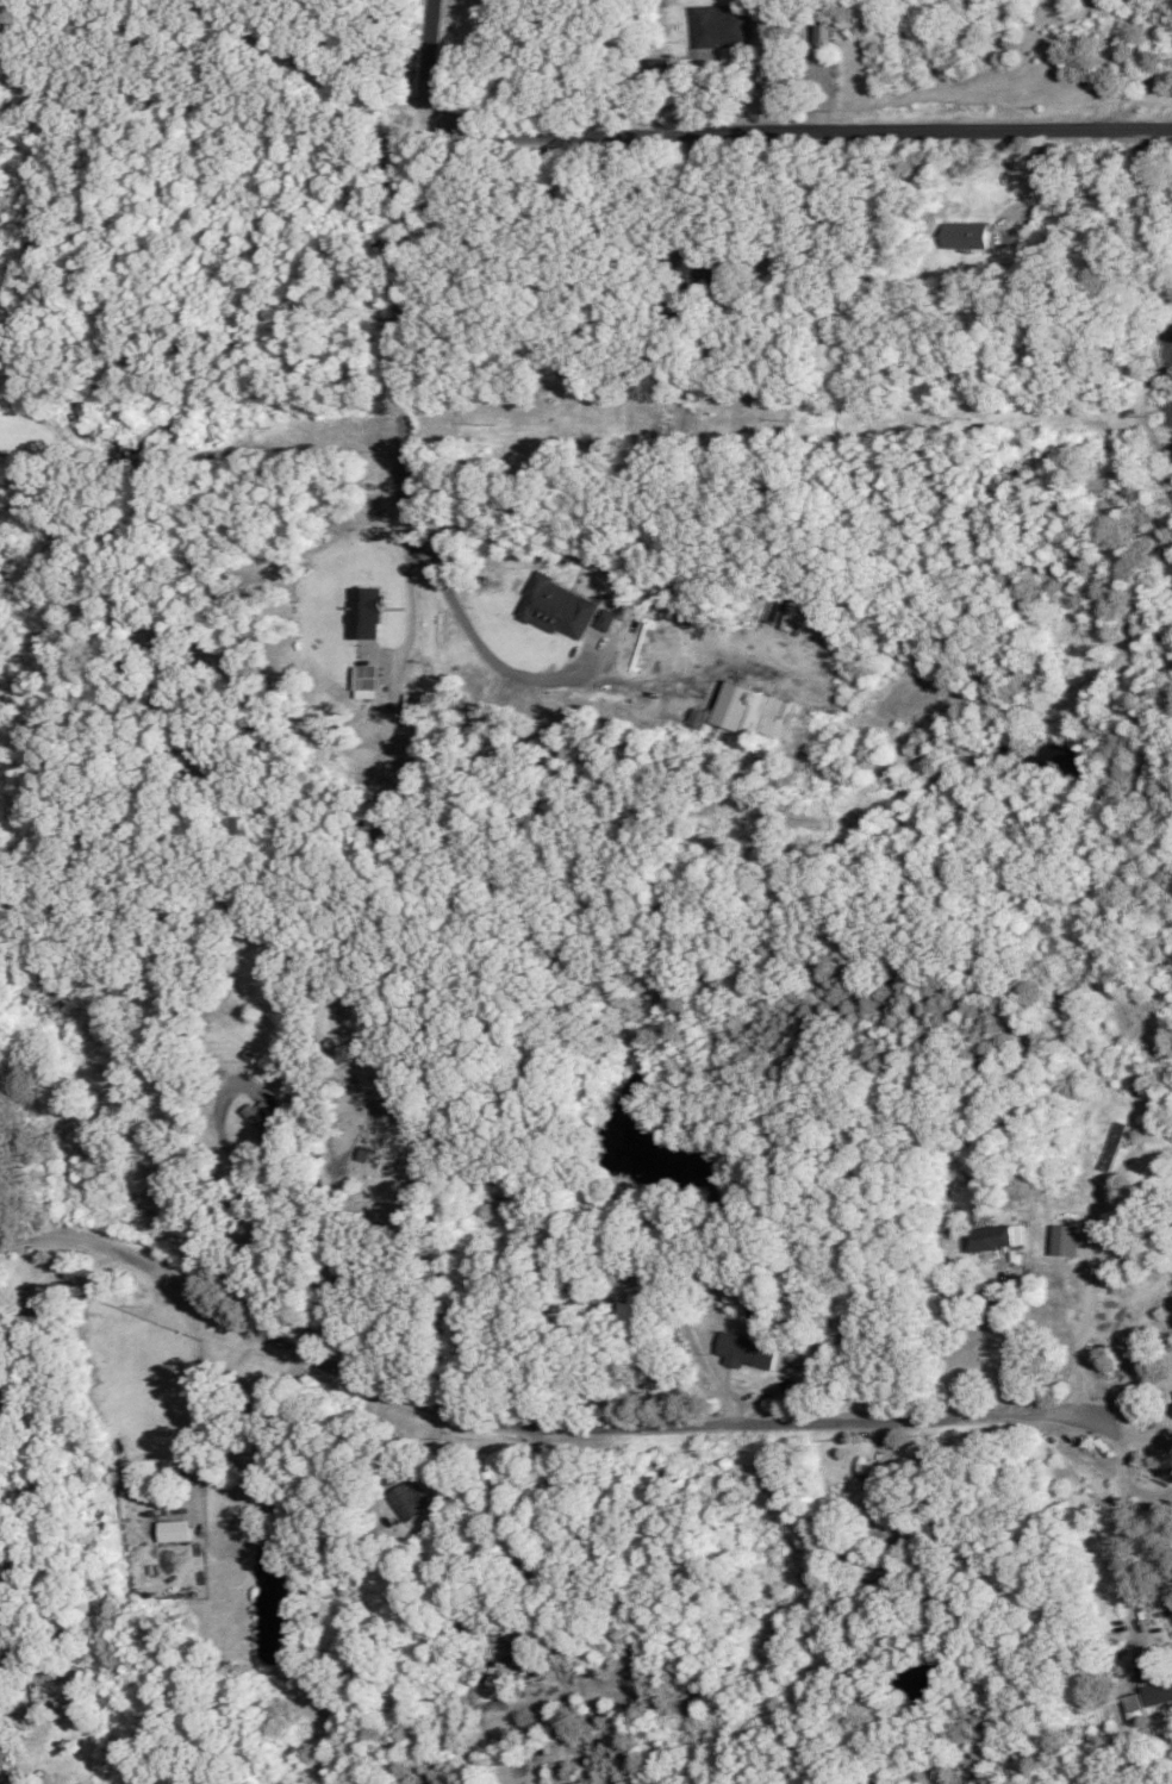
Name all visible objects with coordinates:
building: (721, 24)
building: (824, 33)
road: (766, 52)
road: (322, 70)
road: (750, 130)
road: (1030, 182)
building: (965, 233)
building: (702, 266)
road: (401, 485)
road: (410, 594)
building: (556, 605)
building: (363, 611)
building: (604, 618)
building: (367, 680)
building: (414, 704)
building: (754, 711)
building: (698, 717)
building: (267, 1118)
road: (244, 1181)
building: (990, 1235)
building: (1065, 1239)
road: (1085, 1298)
building: (635, 1308)
road: (1004, 1343)
building: (747, 1349)
road: (195, 1368)
building: (1171, 1403)
road: (524, 1427)
building: (409, 1499)
road: (1124, 1522)
building: (175, 1529)
building: (1151, 1693)
building: (4, 1755)
building: (0, 1776)

